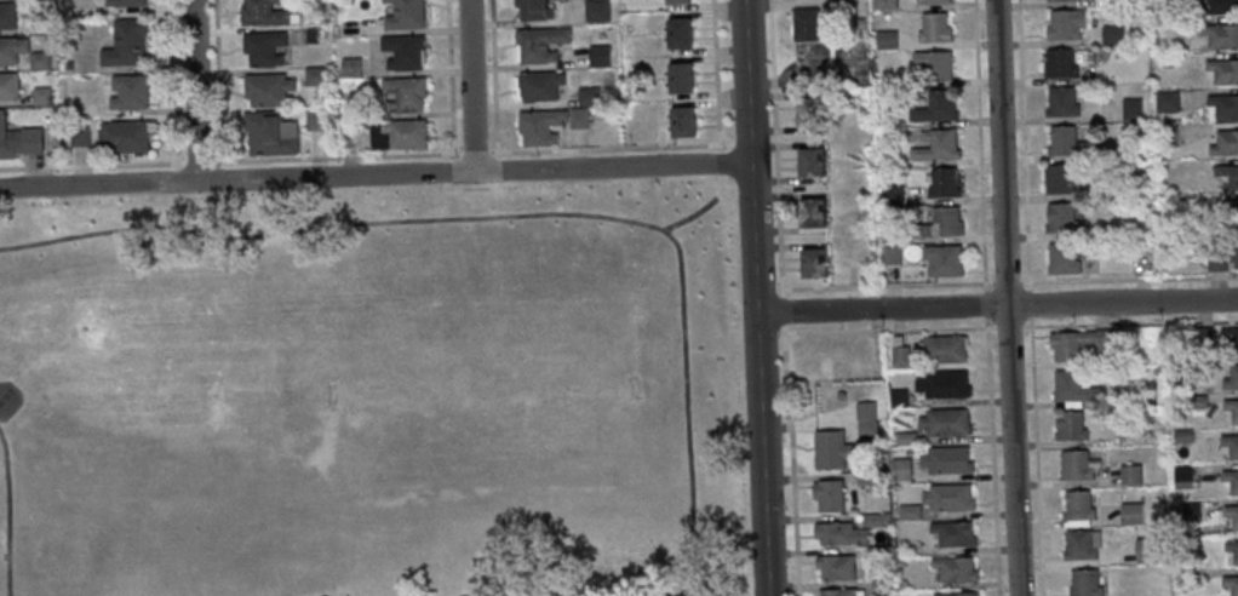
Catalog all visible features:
building: (1068, 0)
building: (678, 1)
building: (934, 1)
building: (128, 4)
building: (887, 4)
building: (1222, 6)
building: (535, 10)
building: (596, 10)
building: (269, 12)
building: (406, 15)
building: (8, 16)
building: (807, 23)
building: (1067, 23)
building: (936, 27)
building: (681, 33)
building: (1116, 34)
building: (315, 35)
building: (1221, 35)
building: (888, 39)
building: (540, 44)
building: (128, 45)
building: (265, 48)
building: (13, 51)
building: (405, 52)
building: (601, 56)
building: (936, 63)
building: (1061, 63)
building: (353, 67)
building: (1223, 69)
building: (316, 74)
building: (682, 78)
road: (717, 85)
road: (472, 86)
building: (540, 86)
building: (10, 87)
building: (269, 88)
road: (195, 91)
building: (131, 92)
building: (406, 94)
building: (589, 96)
building: (1062, 101)
building: (1169, 101)
building: (1225, 104)
building: (935, 108)
building: (1133, 108)
building: (812, 111)
building: (317, 119)
building: (684, 121)
building: (549, 125)
building: (271, 133)
building: (400, 134)
building: (127, 137)
building: (21, 141)
building: (1067, 142)
building: (1226, 143)
building: (938, 144)
road: (720, 161)
building: (813, 161)
road: (376, 174)
building: (1228, 174)
building: (1062, 178)
building: (945, 182)
road: (722, 188)
road: (745, 188)
road: (695, 212)
building: (815, 212)
road: (539, 216)
building: (1065, 218)
building: (945, 222)
building: (1223, 254)
building: (1065, 258)
building: (944, 259)
building: (816, 262)
road: (756, 298)
road: (783, 298)
road: (1005, 298)
road: (997, 306)
building: (1230, 338)
building: (1078, 343)
building: (941, 349)
building: (902, 355)
building: (1232, 379)
building: (944, 383)
building: (1076, 388)
park: (367, 400)
building: (1232, 408)
building: (869, 418)
building: (945, 422)
building: (1072, 425)
building: (1182, 435)
building: (1231, 443)
building: (832, 449)
building: (947, 459)
building: (1079, 464)
building: (902, 469)
building: (1131, 474)
building: (1183, 476)
building: (1232, 478)
building: (830, 494)
building: (948, 497)
building: (1079, 508)
road: (8, 510)
building: (910, 511)
building: (1134, 512)
building: (1232, 512)
building: (838, 532)
building: (956, 533)
building: (1083, 544)
building: (1232, 548)
building: (1150, 550)
building: (837, 567)
building: (958, 567)
building: (1085, 581)
road: (703, 583)
building: (1231, 583)
road: (494, 586)
building: (842, 592)
building: (957, 594)

